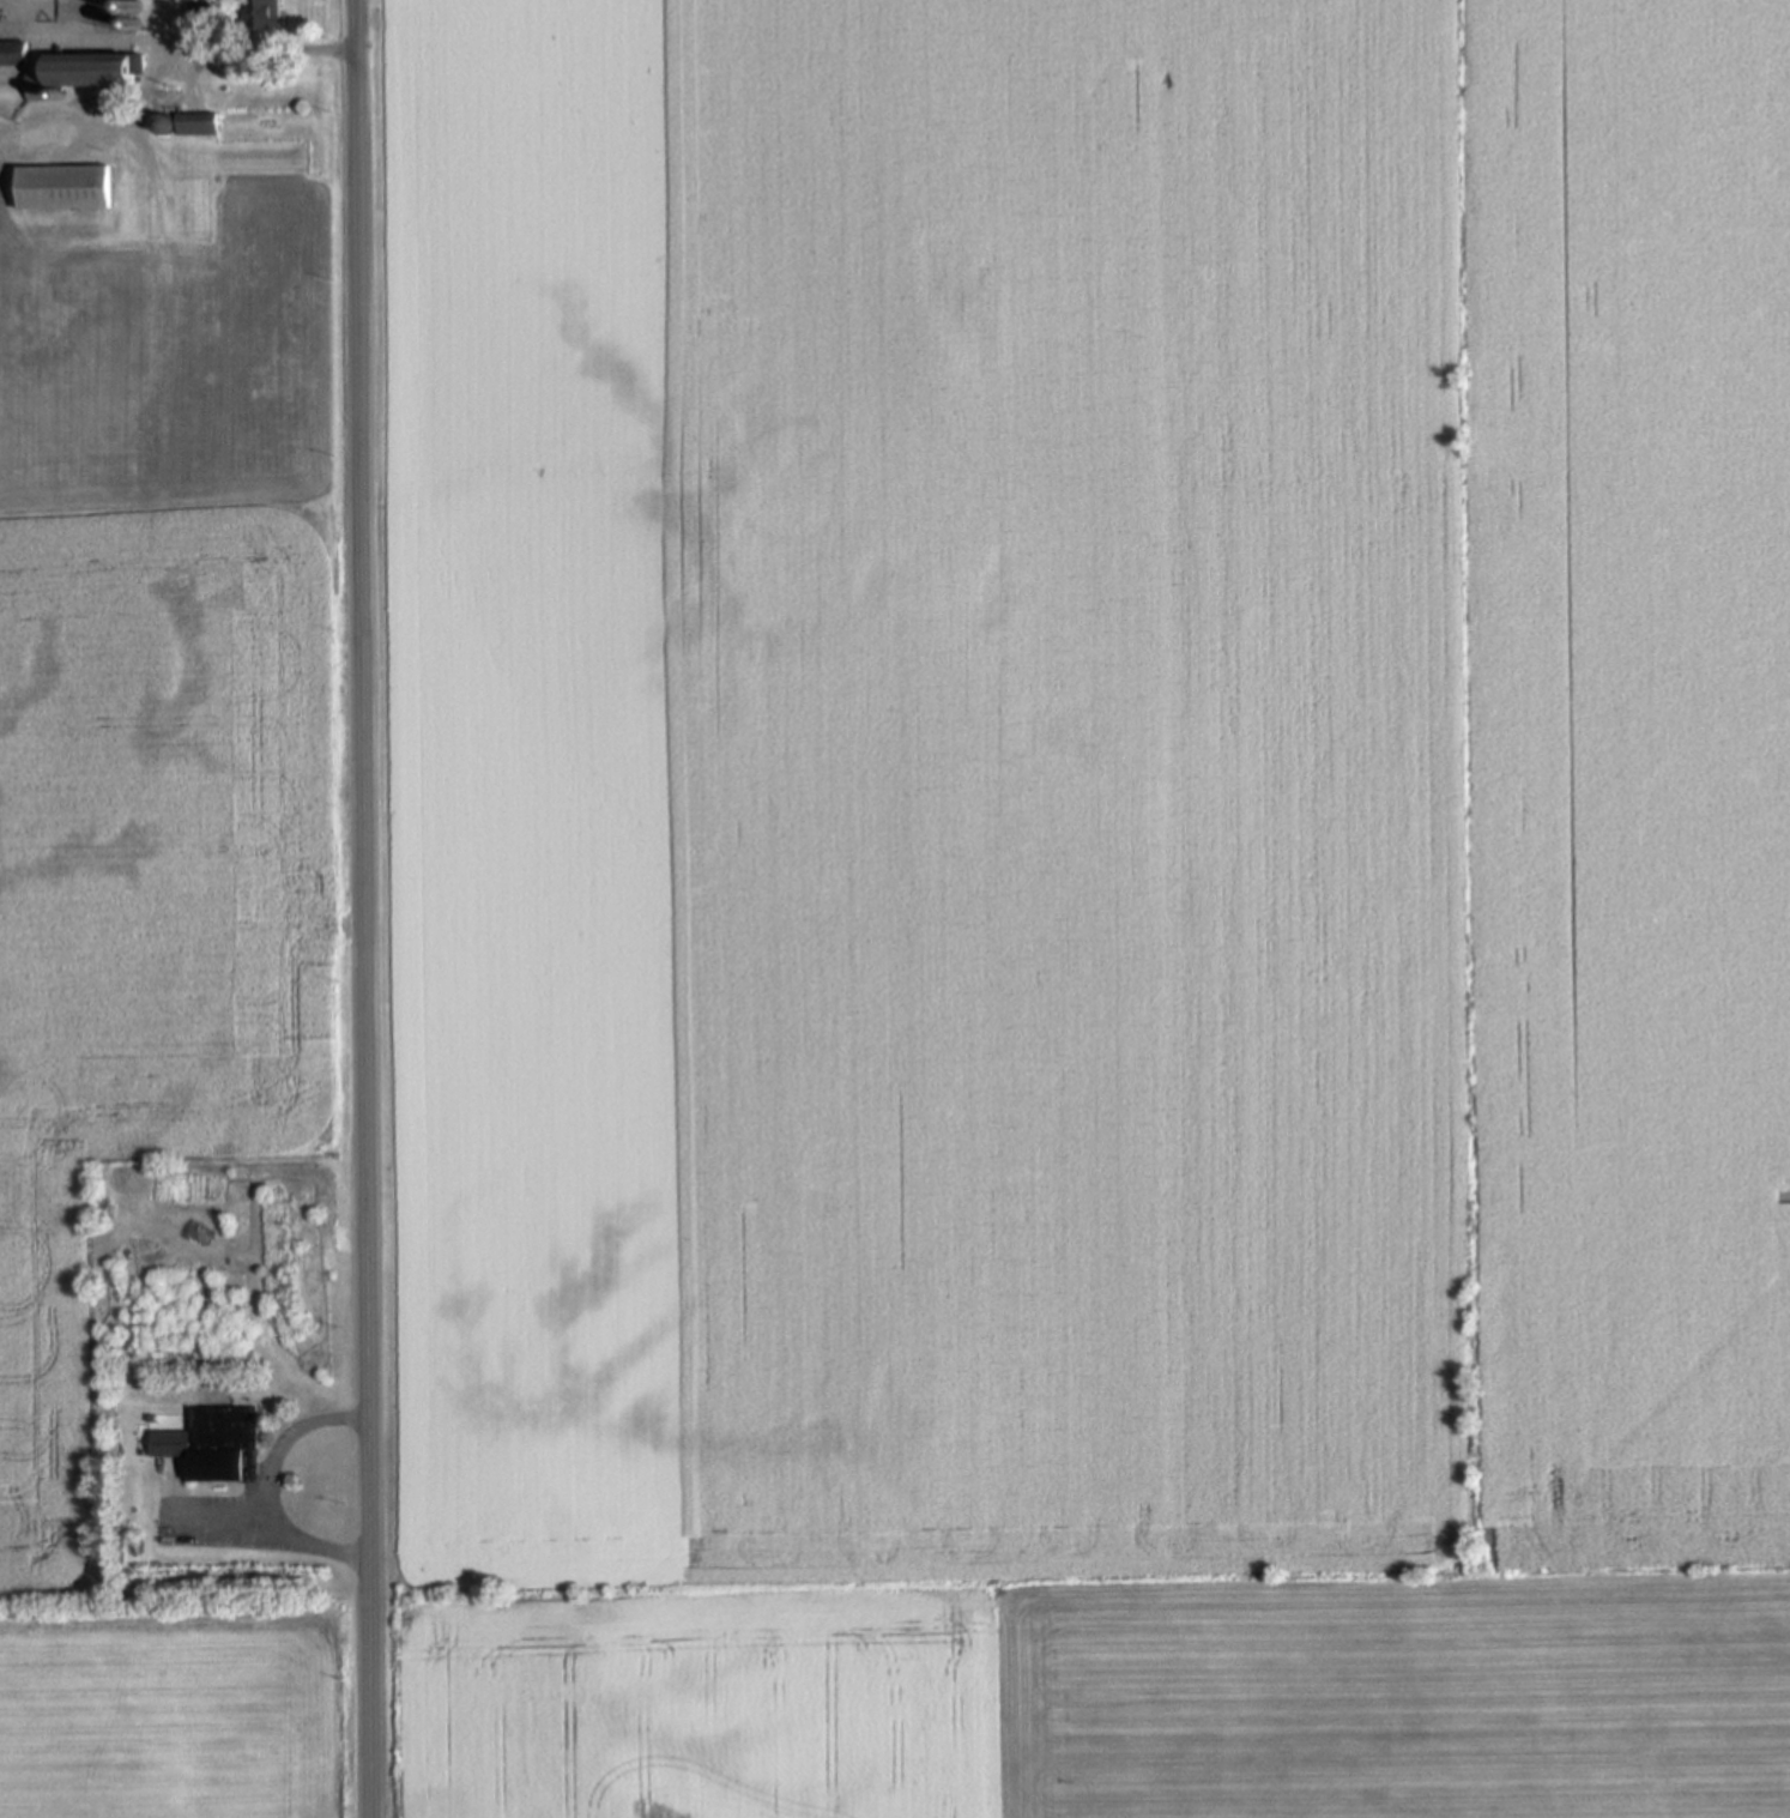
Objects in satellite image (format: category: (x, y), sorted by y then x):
building: (138, 13)
building: (262, 16)
building: (200, 17)
road: (171, 28)
road: (248, 47)
building: (11, 52)
building: (79, 73)
building: (196, 123)
building: (66, 187)
road: (164, 206)
road: (362, 908)
building: (214, 1444)
road: (268, 1486)

